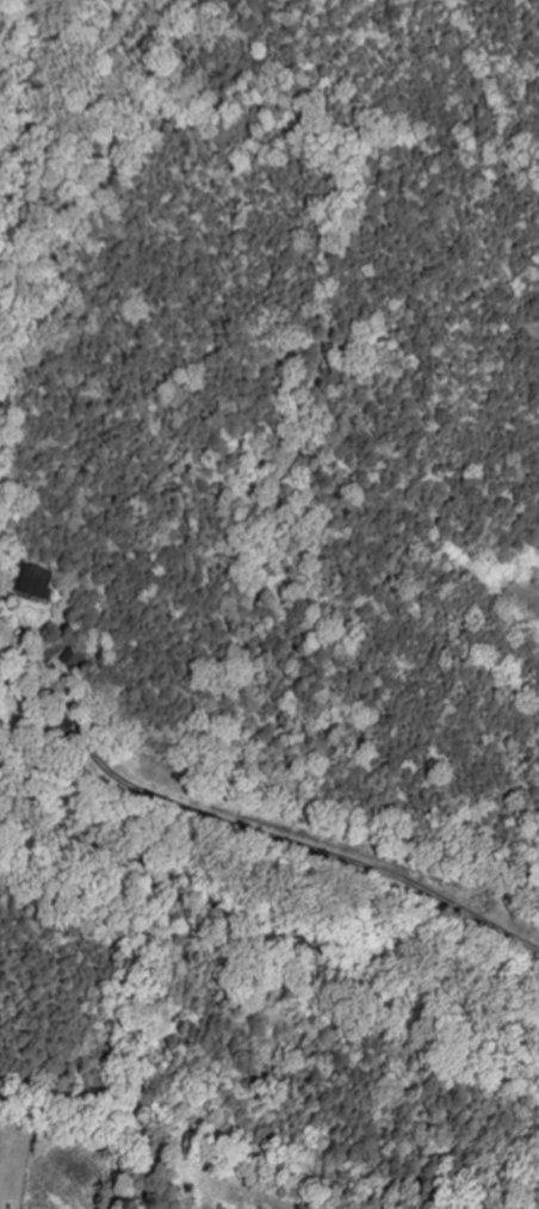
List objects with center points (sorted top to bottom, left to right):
building: (37, 584)
building: (78, 659)
building: (64, 735)
road: (318, 849)

